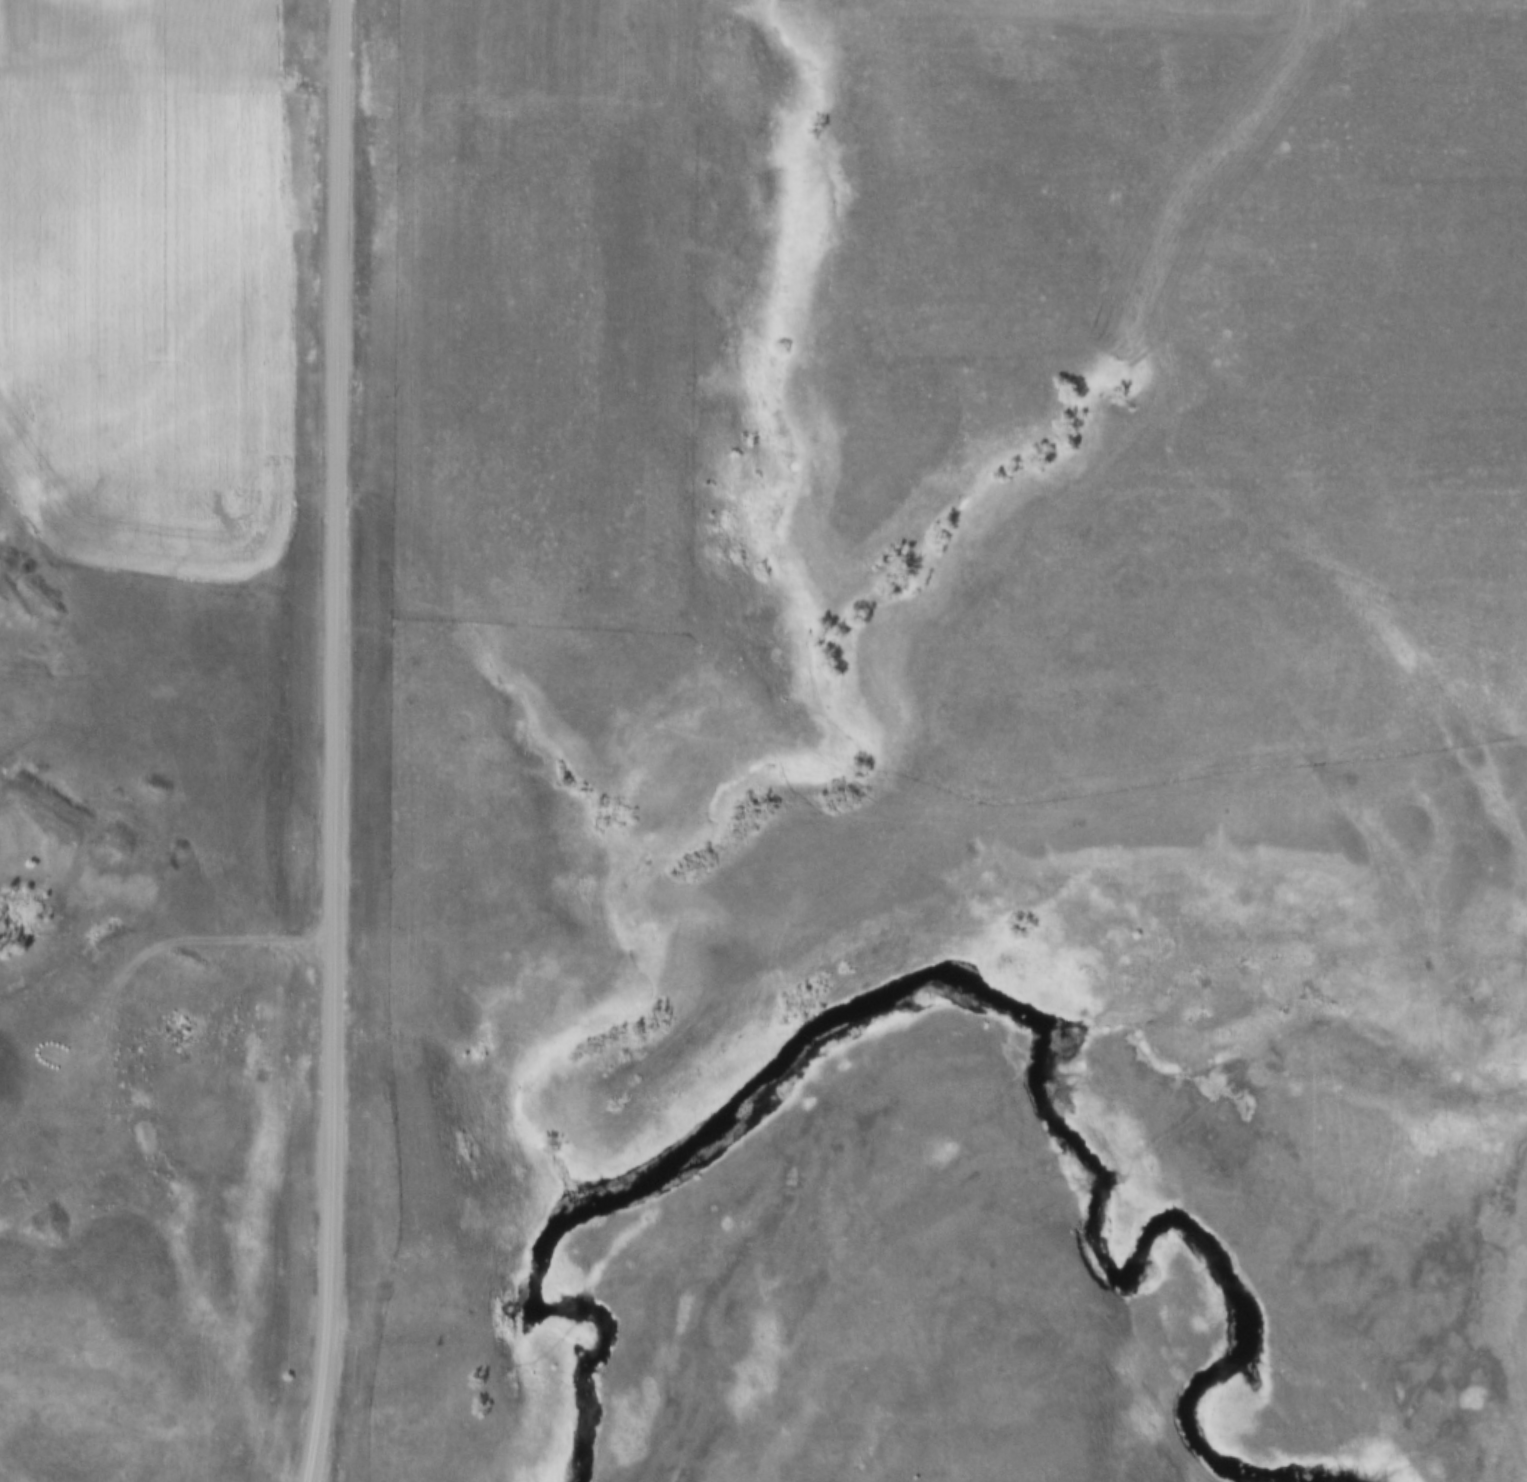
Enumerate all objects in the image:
road: (336, 741)

